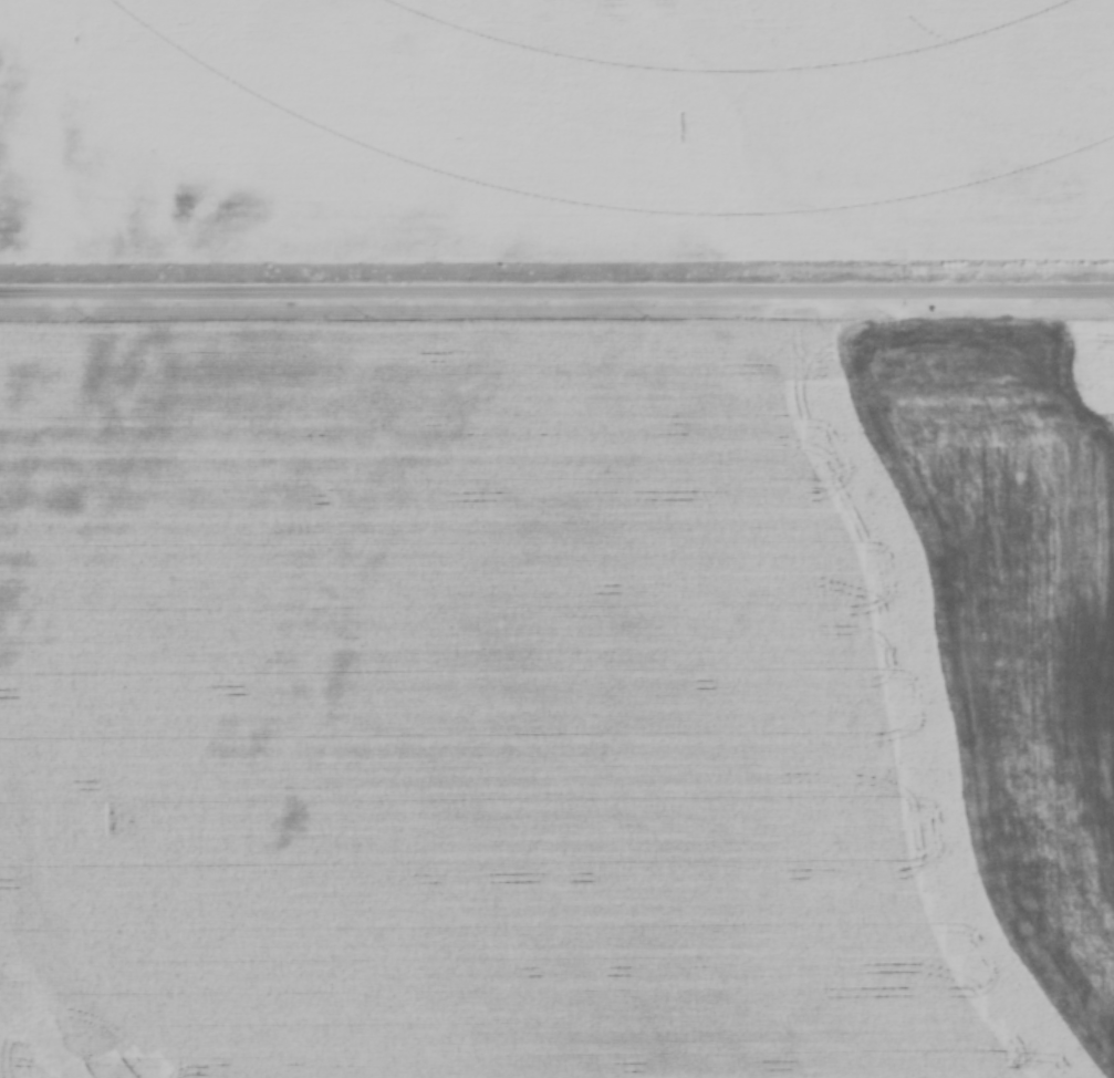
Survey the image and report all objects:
road: (556, 297)

